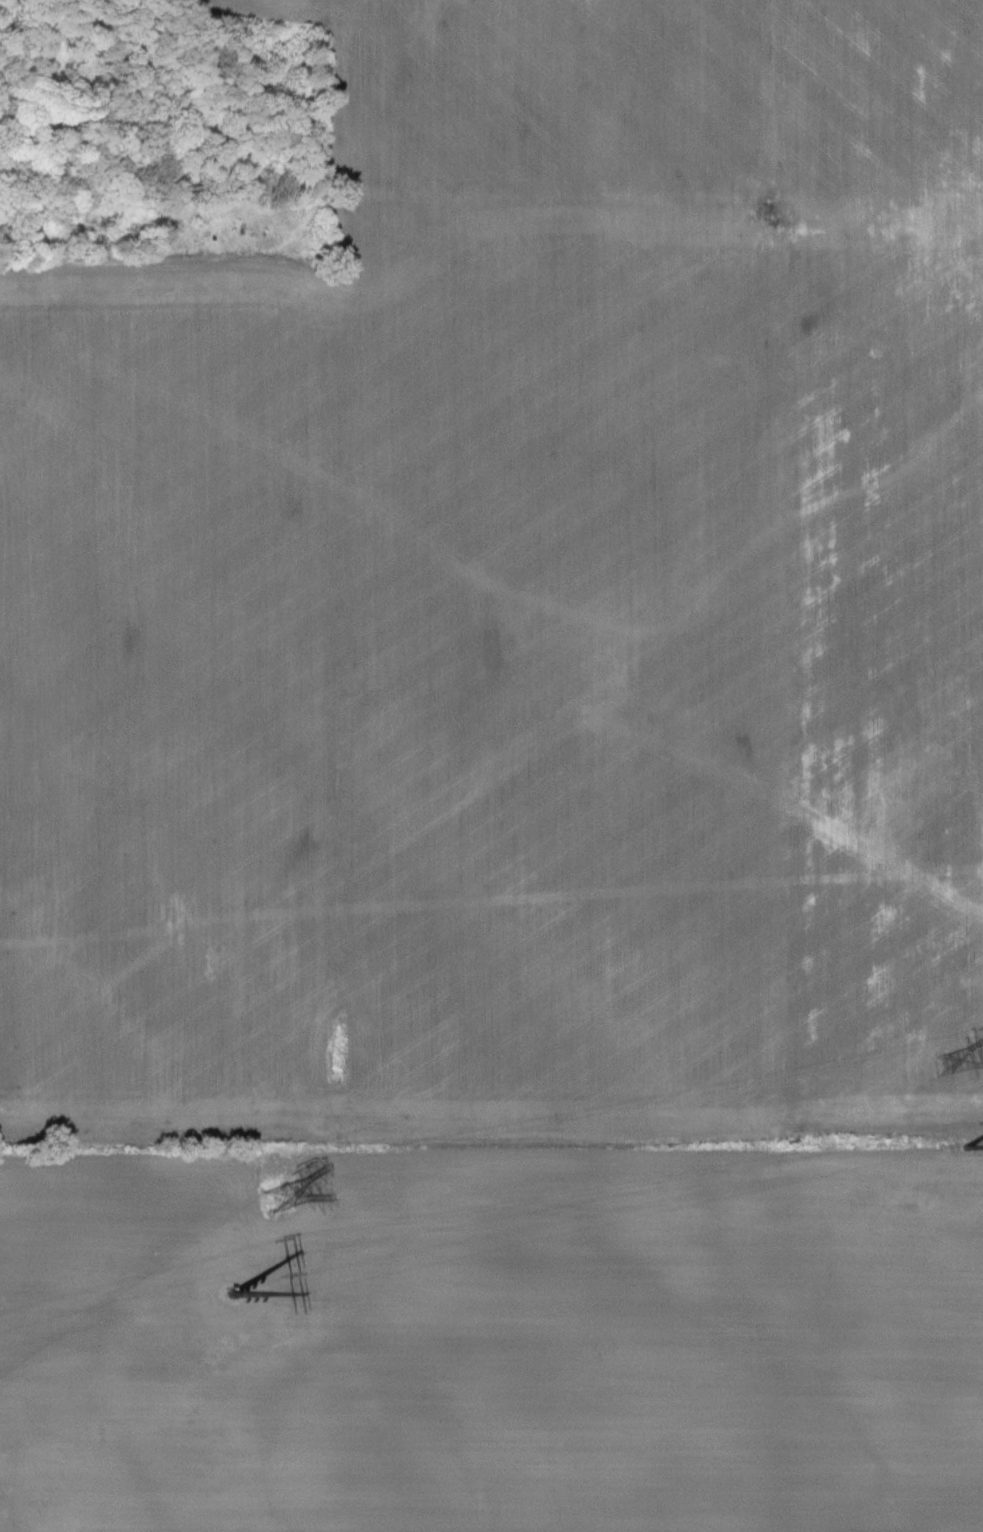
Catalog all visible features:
power tower: (947, 1063)
power tower: (963, 1146)
power tower: (279, 1197)
power tower: (233, 1292)

